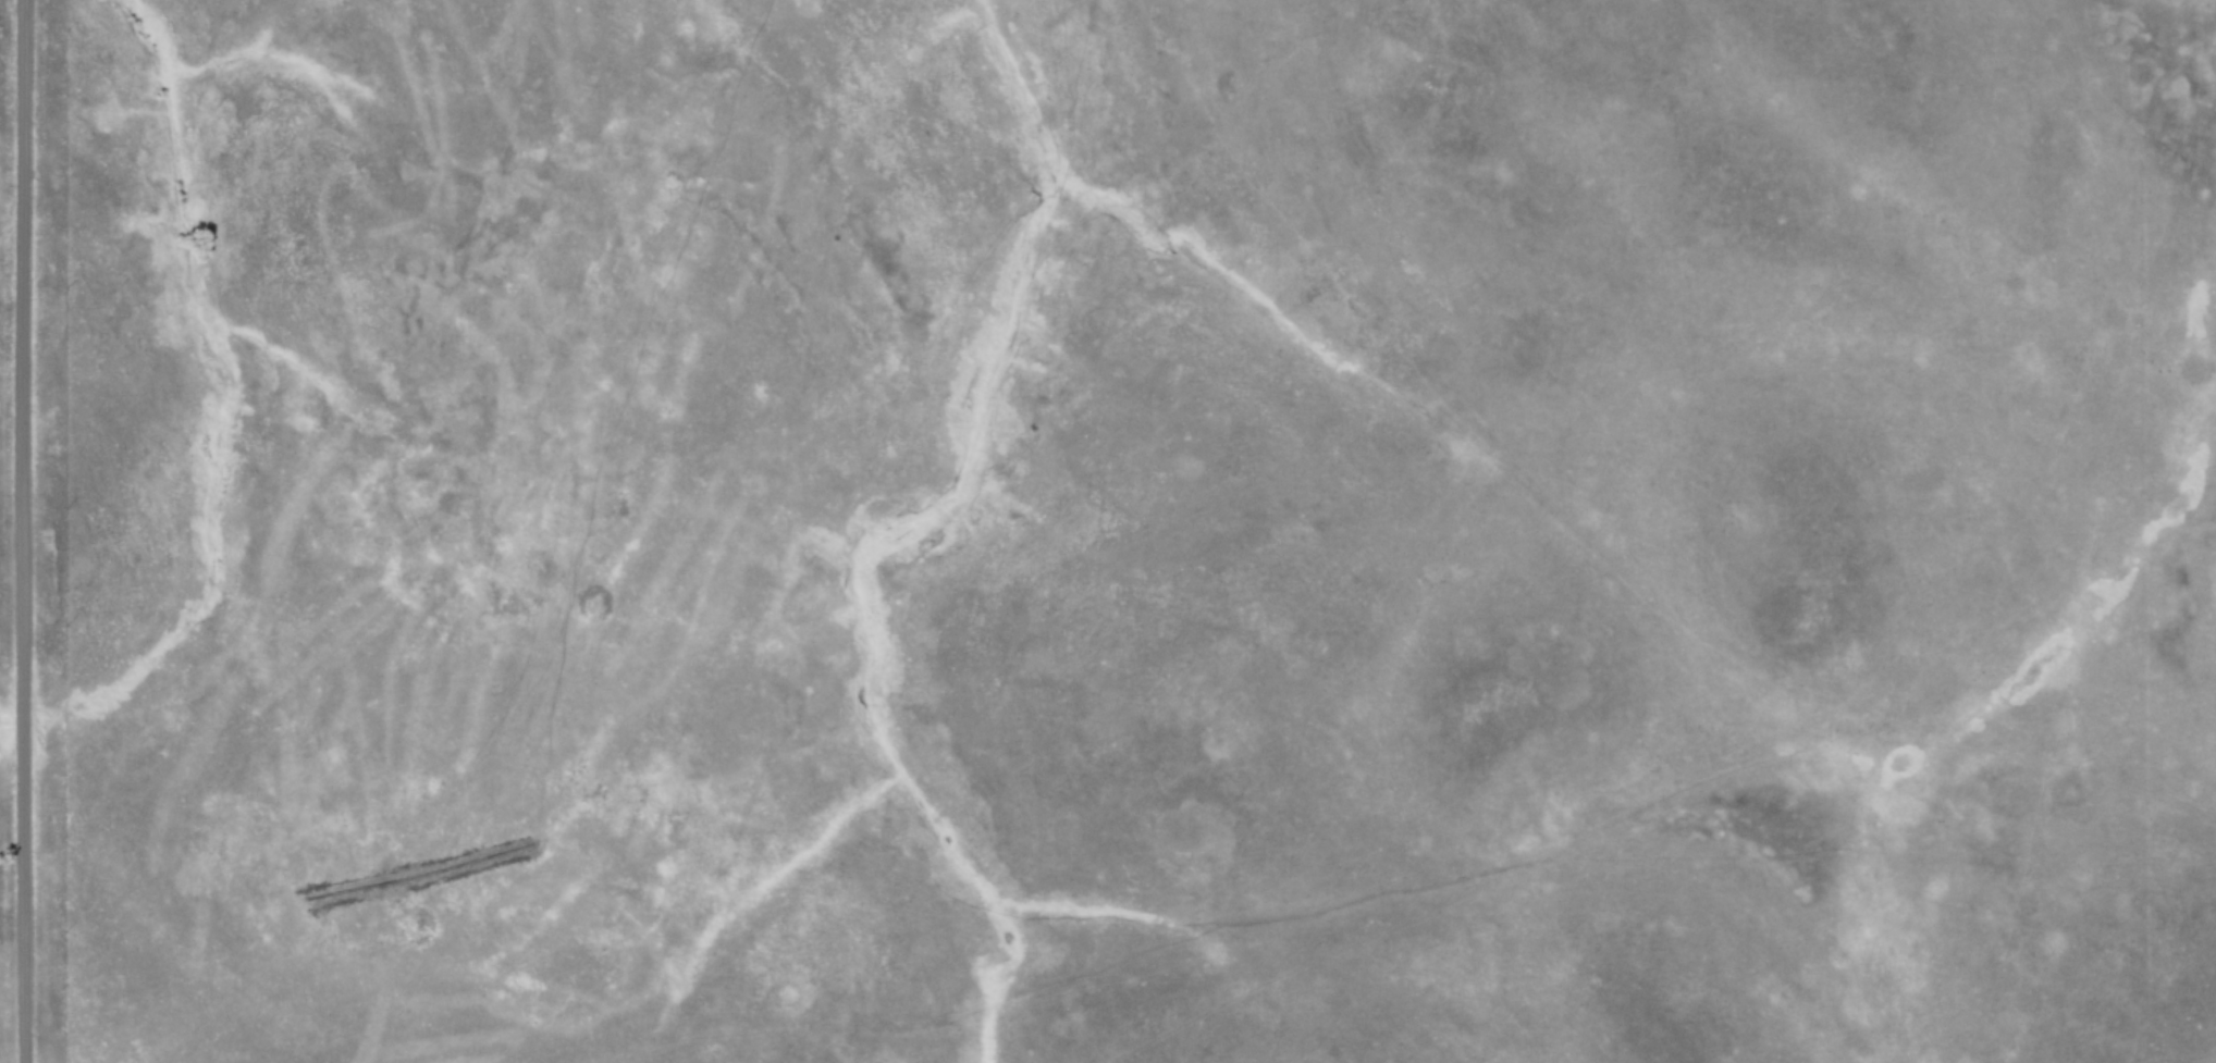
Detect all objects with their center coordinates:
road: (30, 531)

